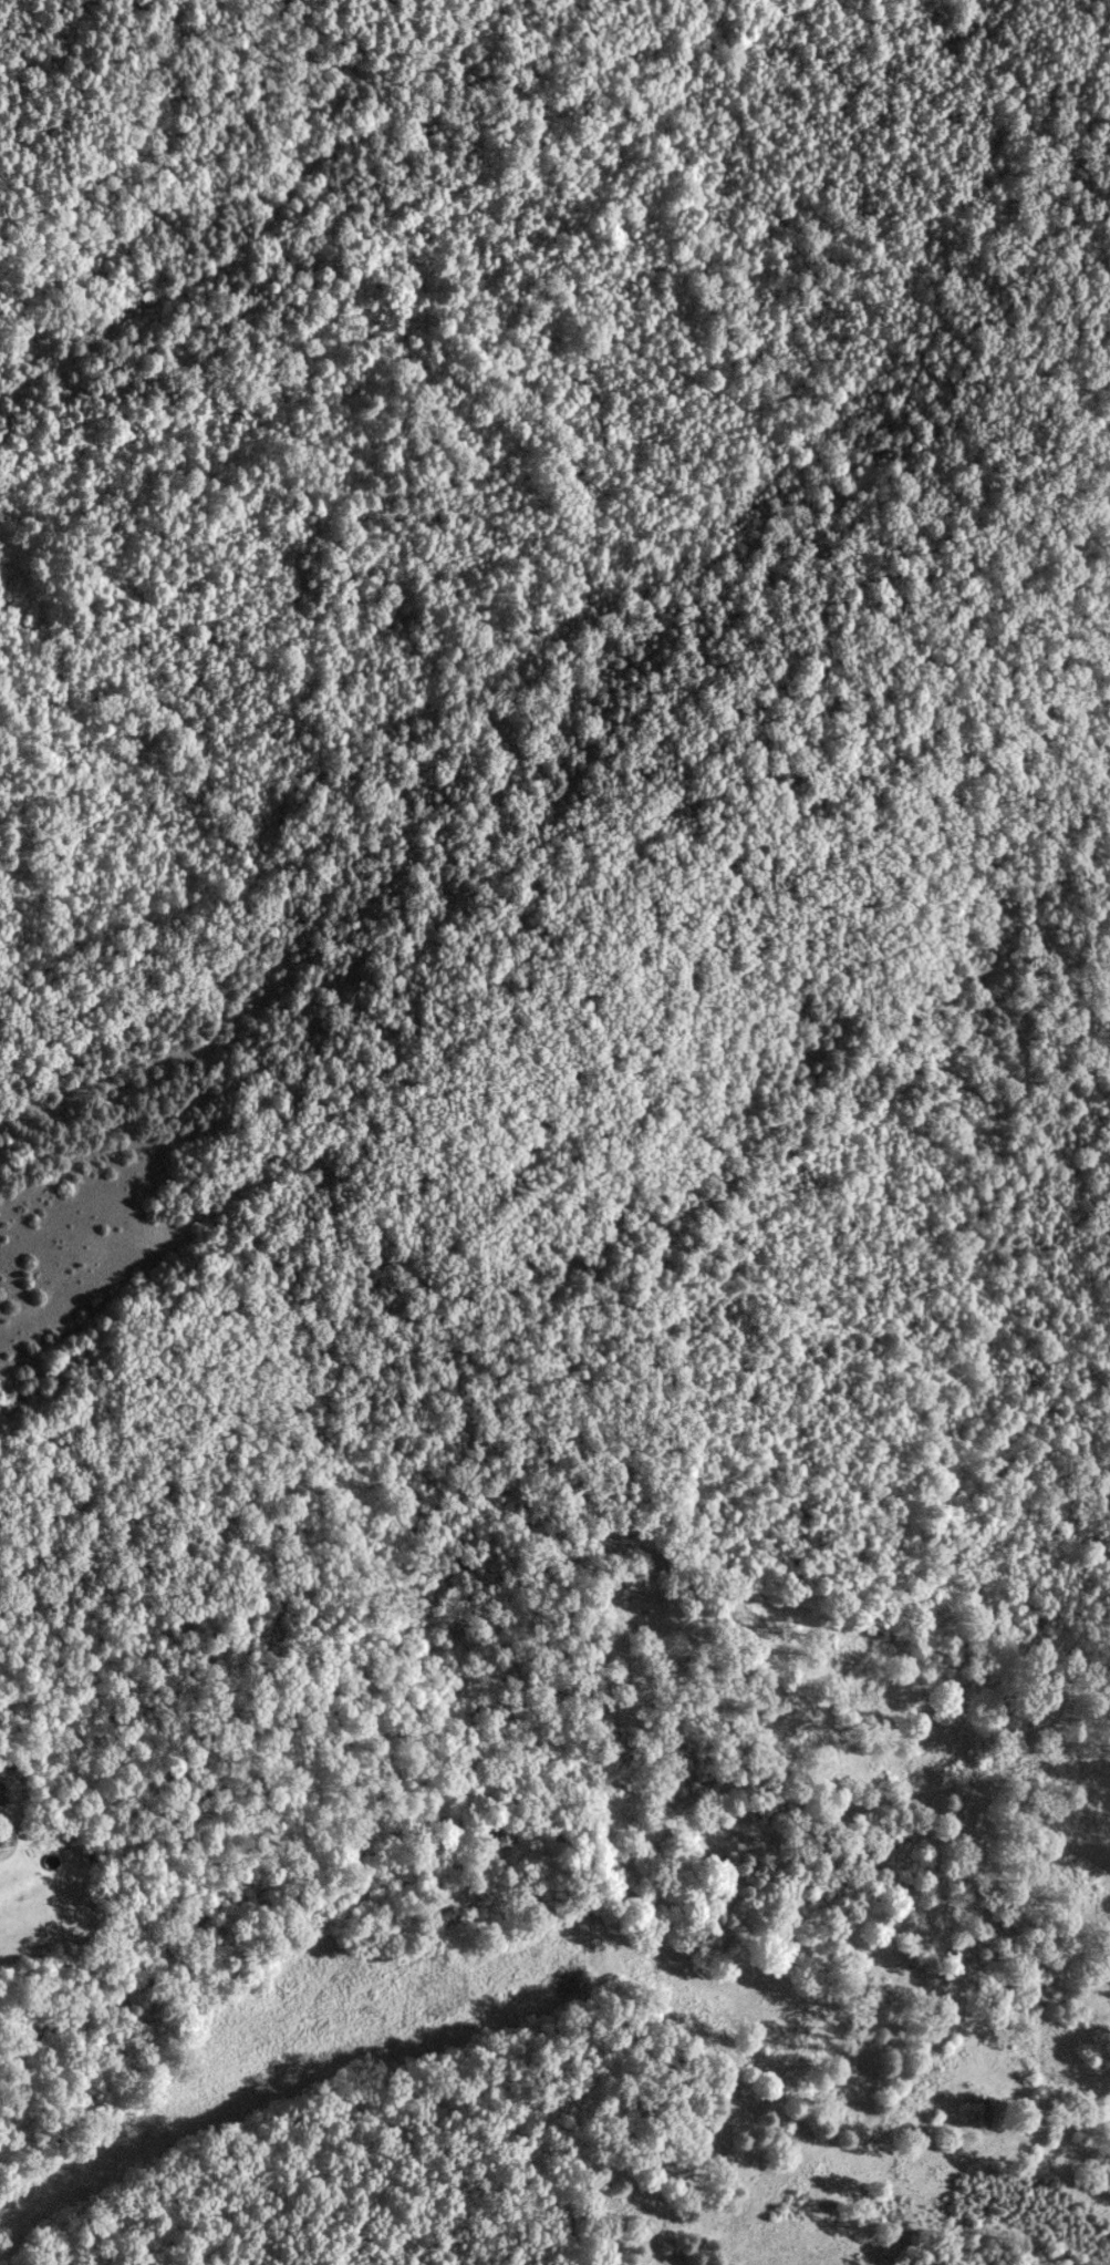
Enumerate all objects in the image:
road: (9, 1833)

